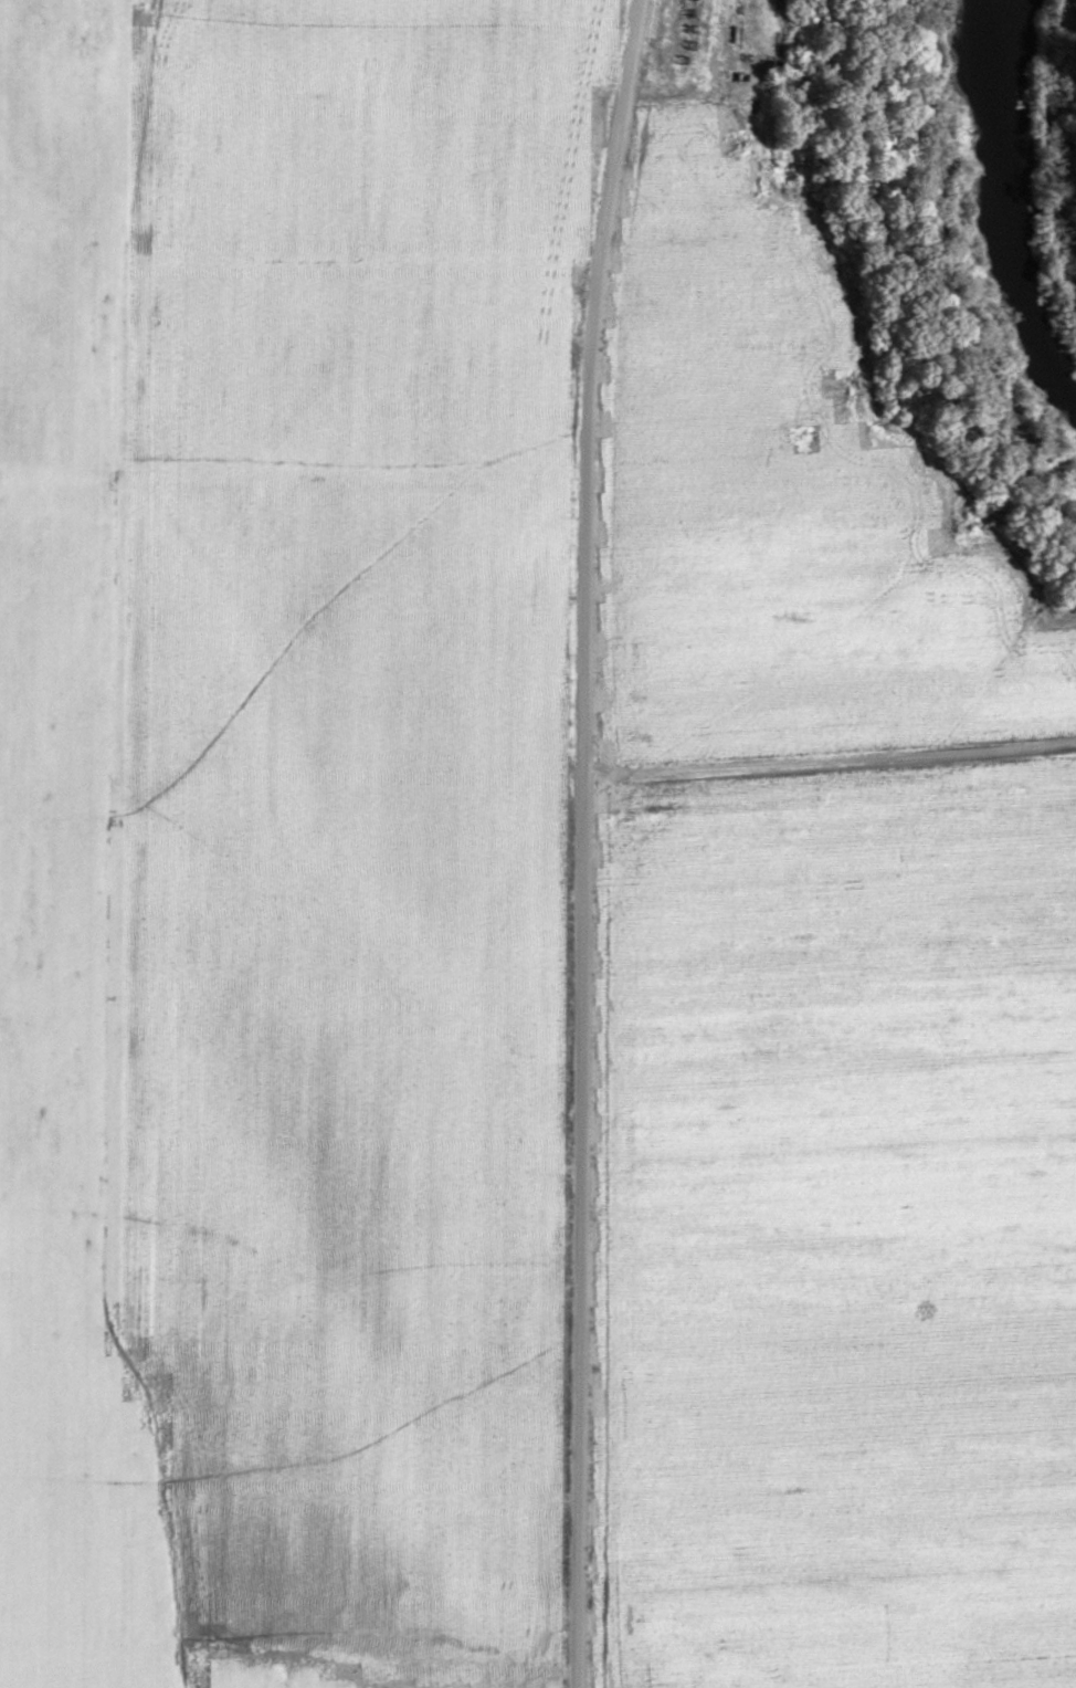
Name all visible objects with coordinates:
river: (1015, 216)
road: (582, 384)
road: (826, 761)
road: (573, 1229)
road: (362, 1671)

